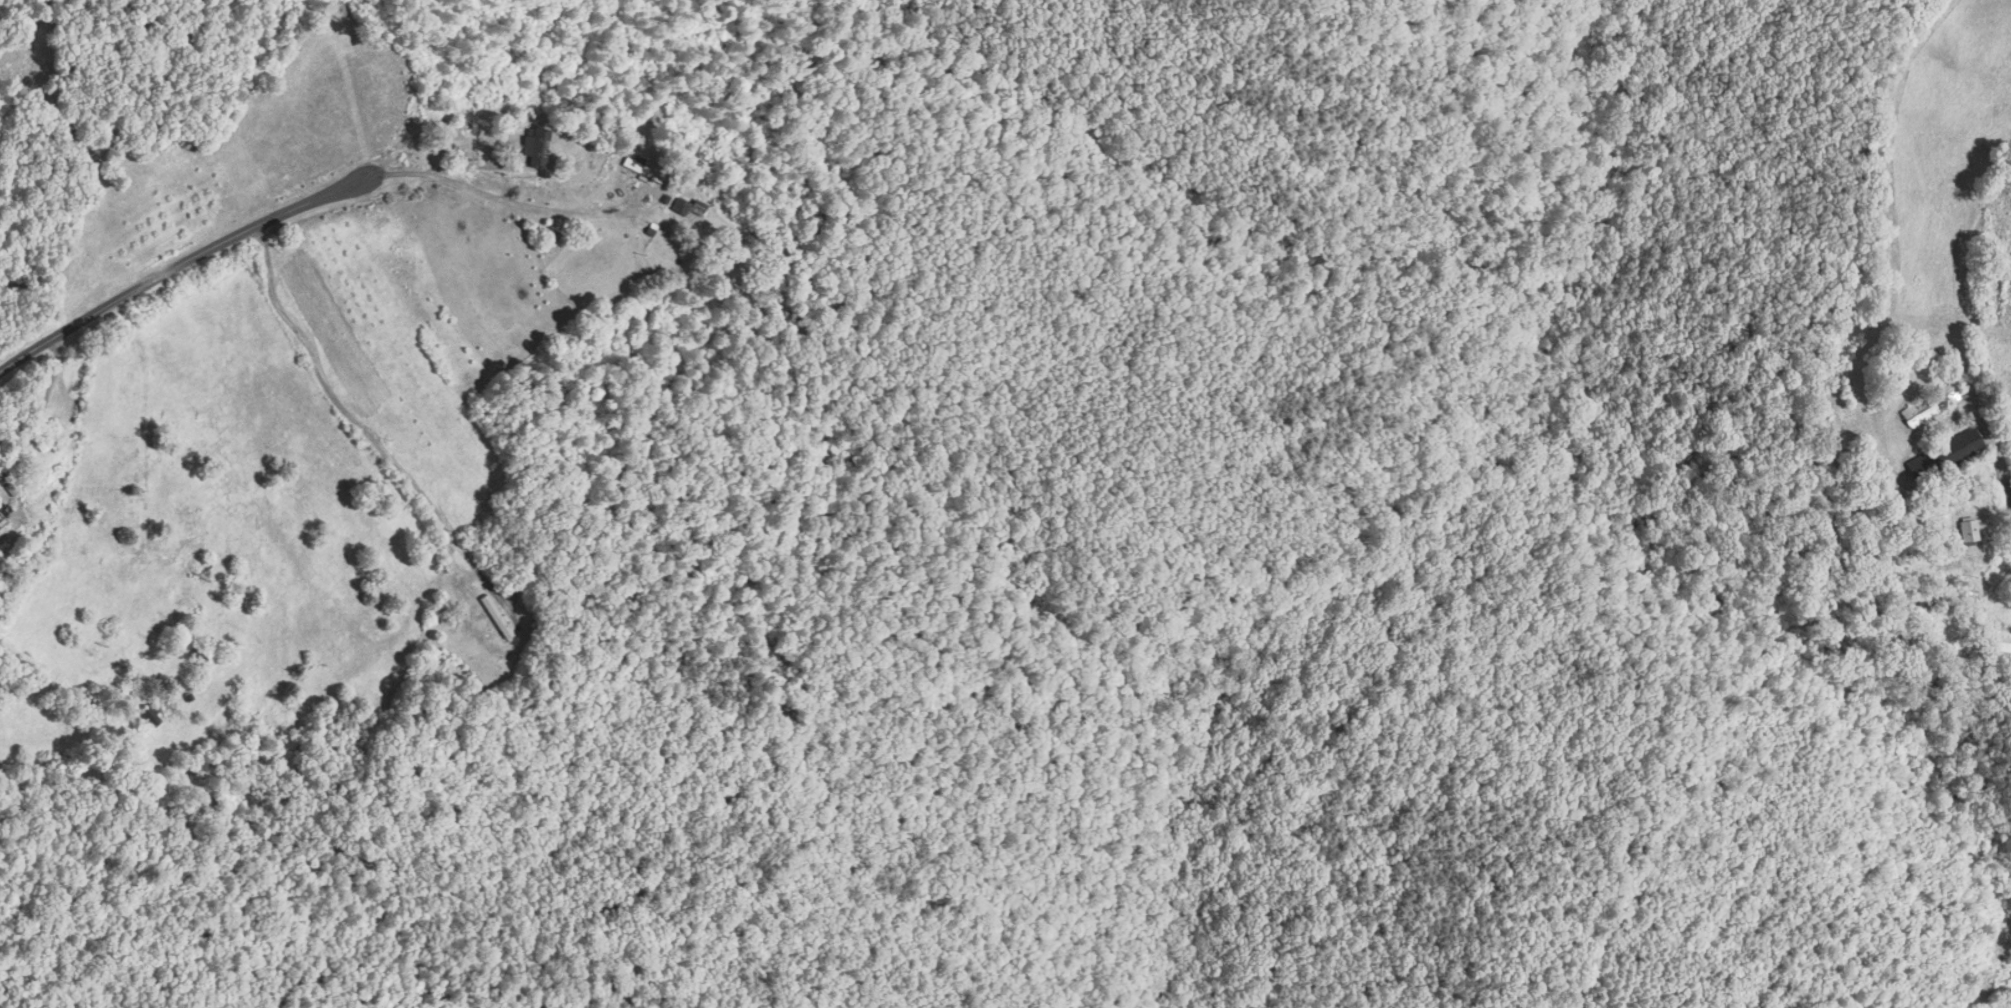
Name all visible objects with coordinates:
building: (644, 170)
road: (482, 200)
road: (174, 258)
building: (1934, 404)
road: (339, 419)
building: (1948, 455)
road: (2002, 462)
building: (4, 510)
building: (1970, 532)
building: (493, 618)
building: (1994, 642)
building: (146, 716)

